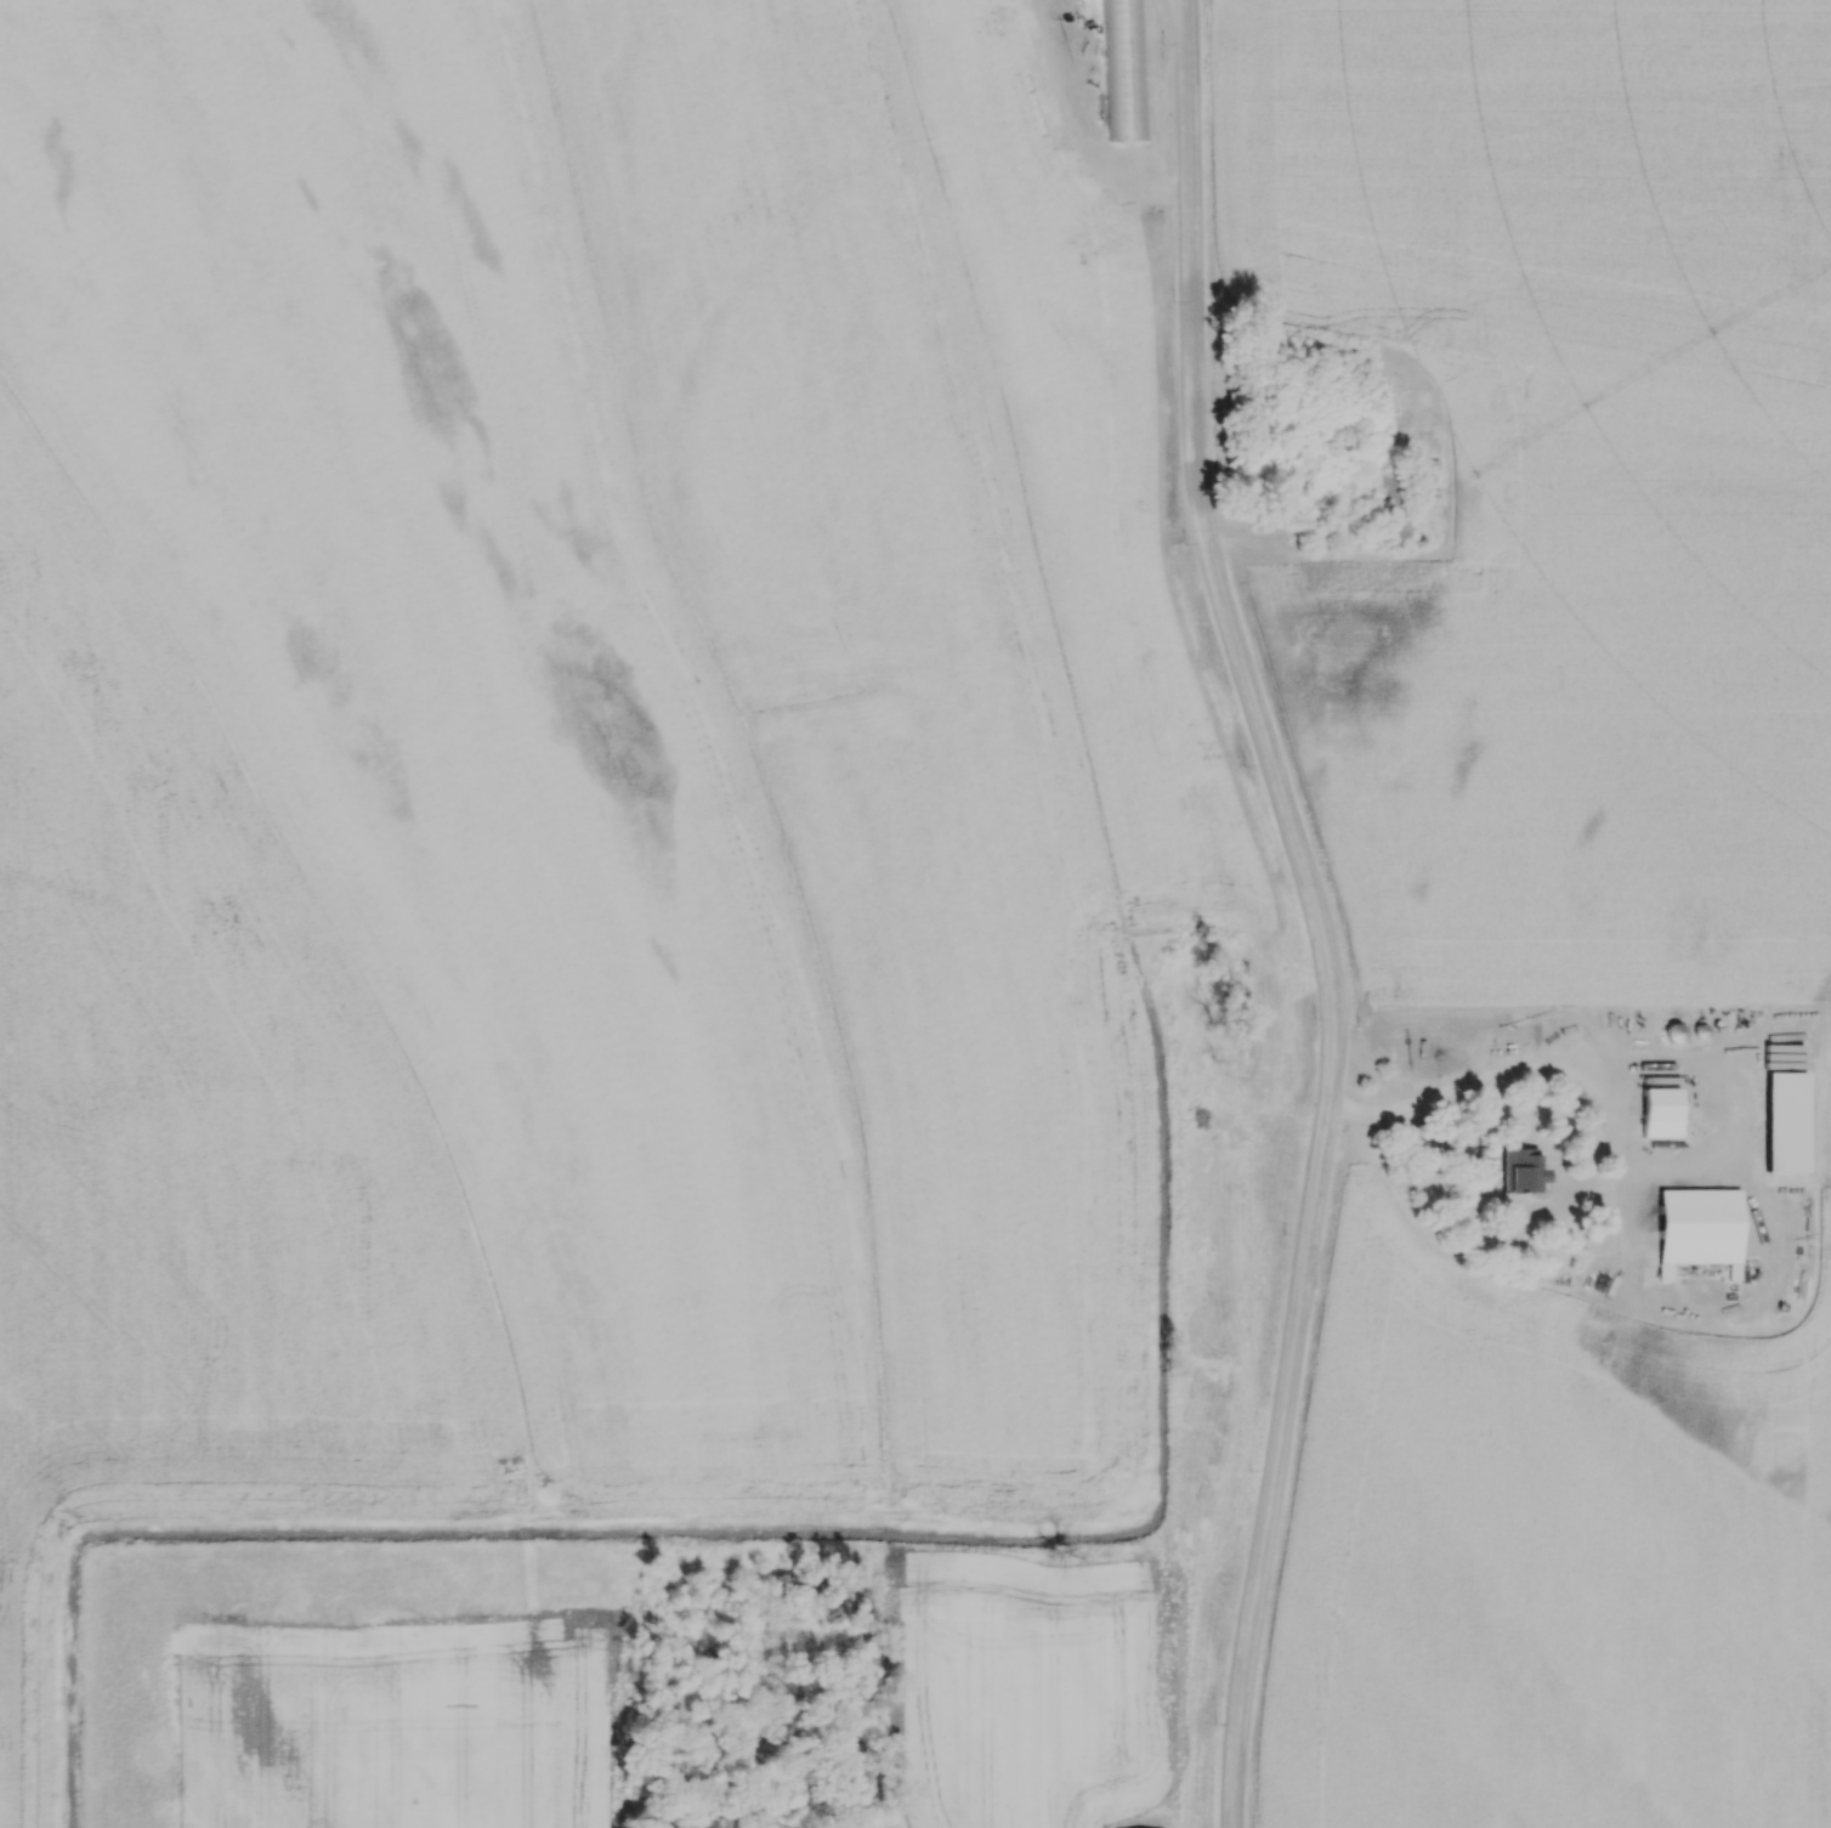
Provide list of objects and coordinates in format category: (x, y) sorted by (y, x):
road: (1308, 909)
road: (1544, 1062)
road: (1399, 1136)

